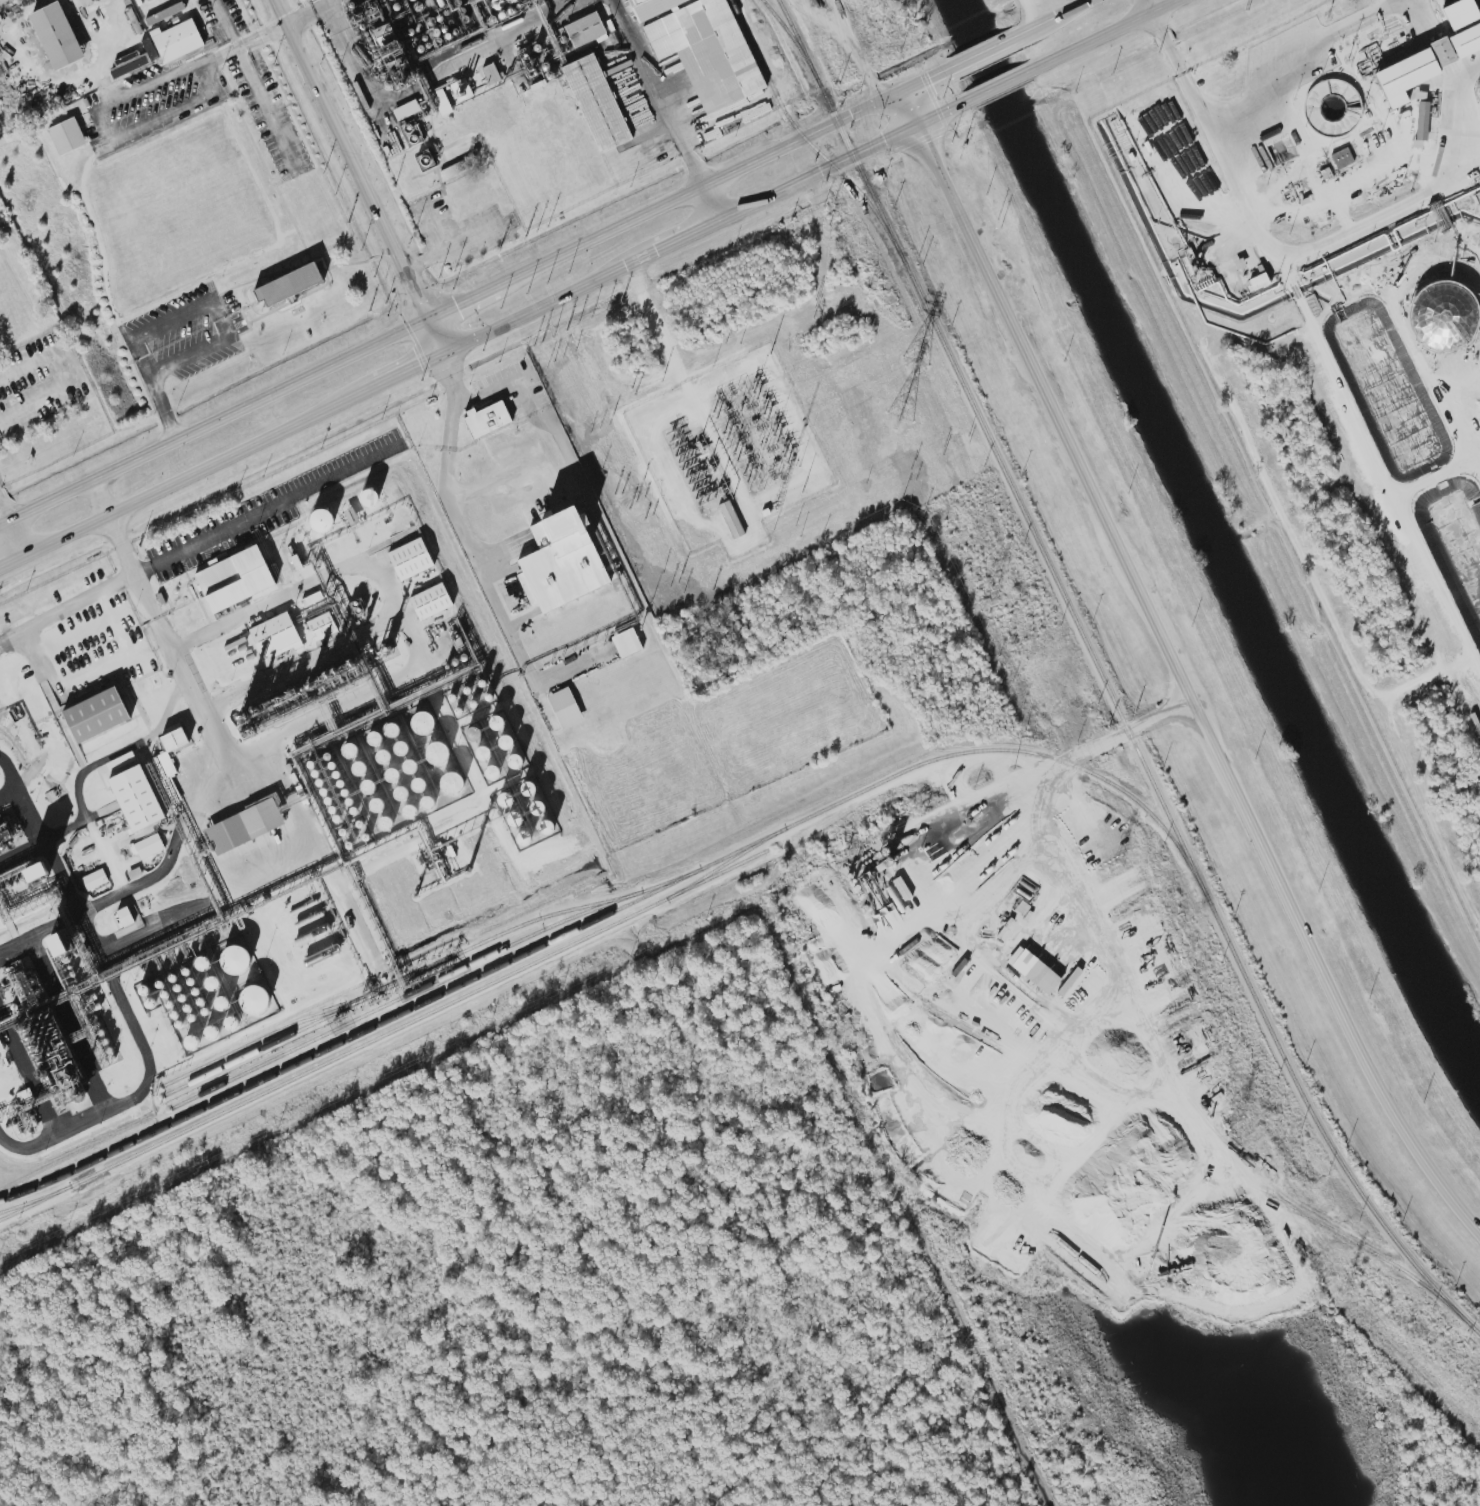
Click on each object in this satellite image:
building: (85, 2)
road: (330, 2)
road: (1150, 6)
building: (651, 7)
building: (164, 13)
building: (1460, 13)
road: (1059, 19)
road: (225, 23)
road: (624, 24)
building: (584, 28)
road: (1108, 33)
building: (56, 36)
building: (177, 40)
railway: (793, 40)
building: (1467, 42)
road: (990, 50)
road: (354, 51)
road: (218, 54)
building: (129, 62)
road: (1314, 65)
building: (491, 73)
road: (162, 79)
road: (252, 80)
road: (1003, 83)
building: (451, 95)
road: (203, 97)
building: (596, 102)
building: (406, 109)
road: (670, 116)
building: (1422, 117)
road: (134, 129)
building: (410, 133)
building: (66, 136)
railway: (806, 139)
road: (1215, 146)
building: (1342, 157)
road: (844, 158)
road: (356, 160)
building: (452, 169)
road: (730, 171)
road: (713, 201)
road: (1386, 223)
road: (435, 226)
road: (689, 234)
road: (457, 243)
building: (1259, 280)
building: (288, 284)
road: (553, 298)
road: (210, 301)
road: (468, 305)
traffic signals: (435, 322)
road: (658, 331)
road: (443, 335)
wastewater plant: (1333, 336)
traffic signals: (451, 348)
power tower: (915, 362)
road: (407, 369)
road: (65, 377)
road: (491, 387)
road: (520, 394)
road: (454, 399)
road: (166, 409)
power tower: (900, 415)
building: (486, 419)
road: (217, 426)
power substation: (730, 452)
road: (1386, 461)
road: (191, 474)
road: (102, 500)
road: (266, 507)
building: (351, 515)
building: (731, 519)
road: (4, 520)
building: (321, 520)
road: (13, 542)
building: (410, 559)
road: (9, 561)
building: (560, 561)
building: (234, 578)
building: (430, 601)
road: (494, 604)
power tower: (989, 604)
road: (67, 606)
road: (402, 612)
building: (321, 625)
building: (274, 633)
building: (626, 642)
road: (174, 657)
road: (93, 667)
road: (1180, 668)
railway: (1105, 681)
building: (564, 707)
building: (96, 714)
road: (1113, 738)
building: (173, 739)
building: (166, 774)
building: (135, 797)
building: (246, 827)
building: (148, 846)
railway: (726, 863)
power tower: (1116, 869)
building: (37, 872)
building: (94, 879)
railway: (619, 908)
building: (125, 916)
building: (58, 944)
building: (235, 960)
railway: (427, 969)
building: (1033, 969)
building: (1069, 981)
railway: (405, 995)
building: (255, 999)
railway: (385, 1034)
railway: (1151, 1036)
railway: (256, 1040)
building: (1, 1046)
railway: (976, 1114)
power tower: (1236, 1121)
railway: (1143, 1126)
railway: (35, 1199)
power tower: (1345, 1290)

